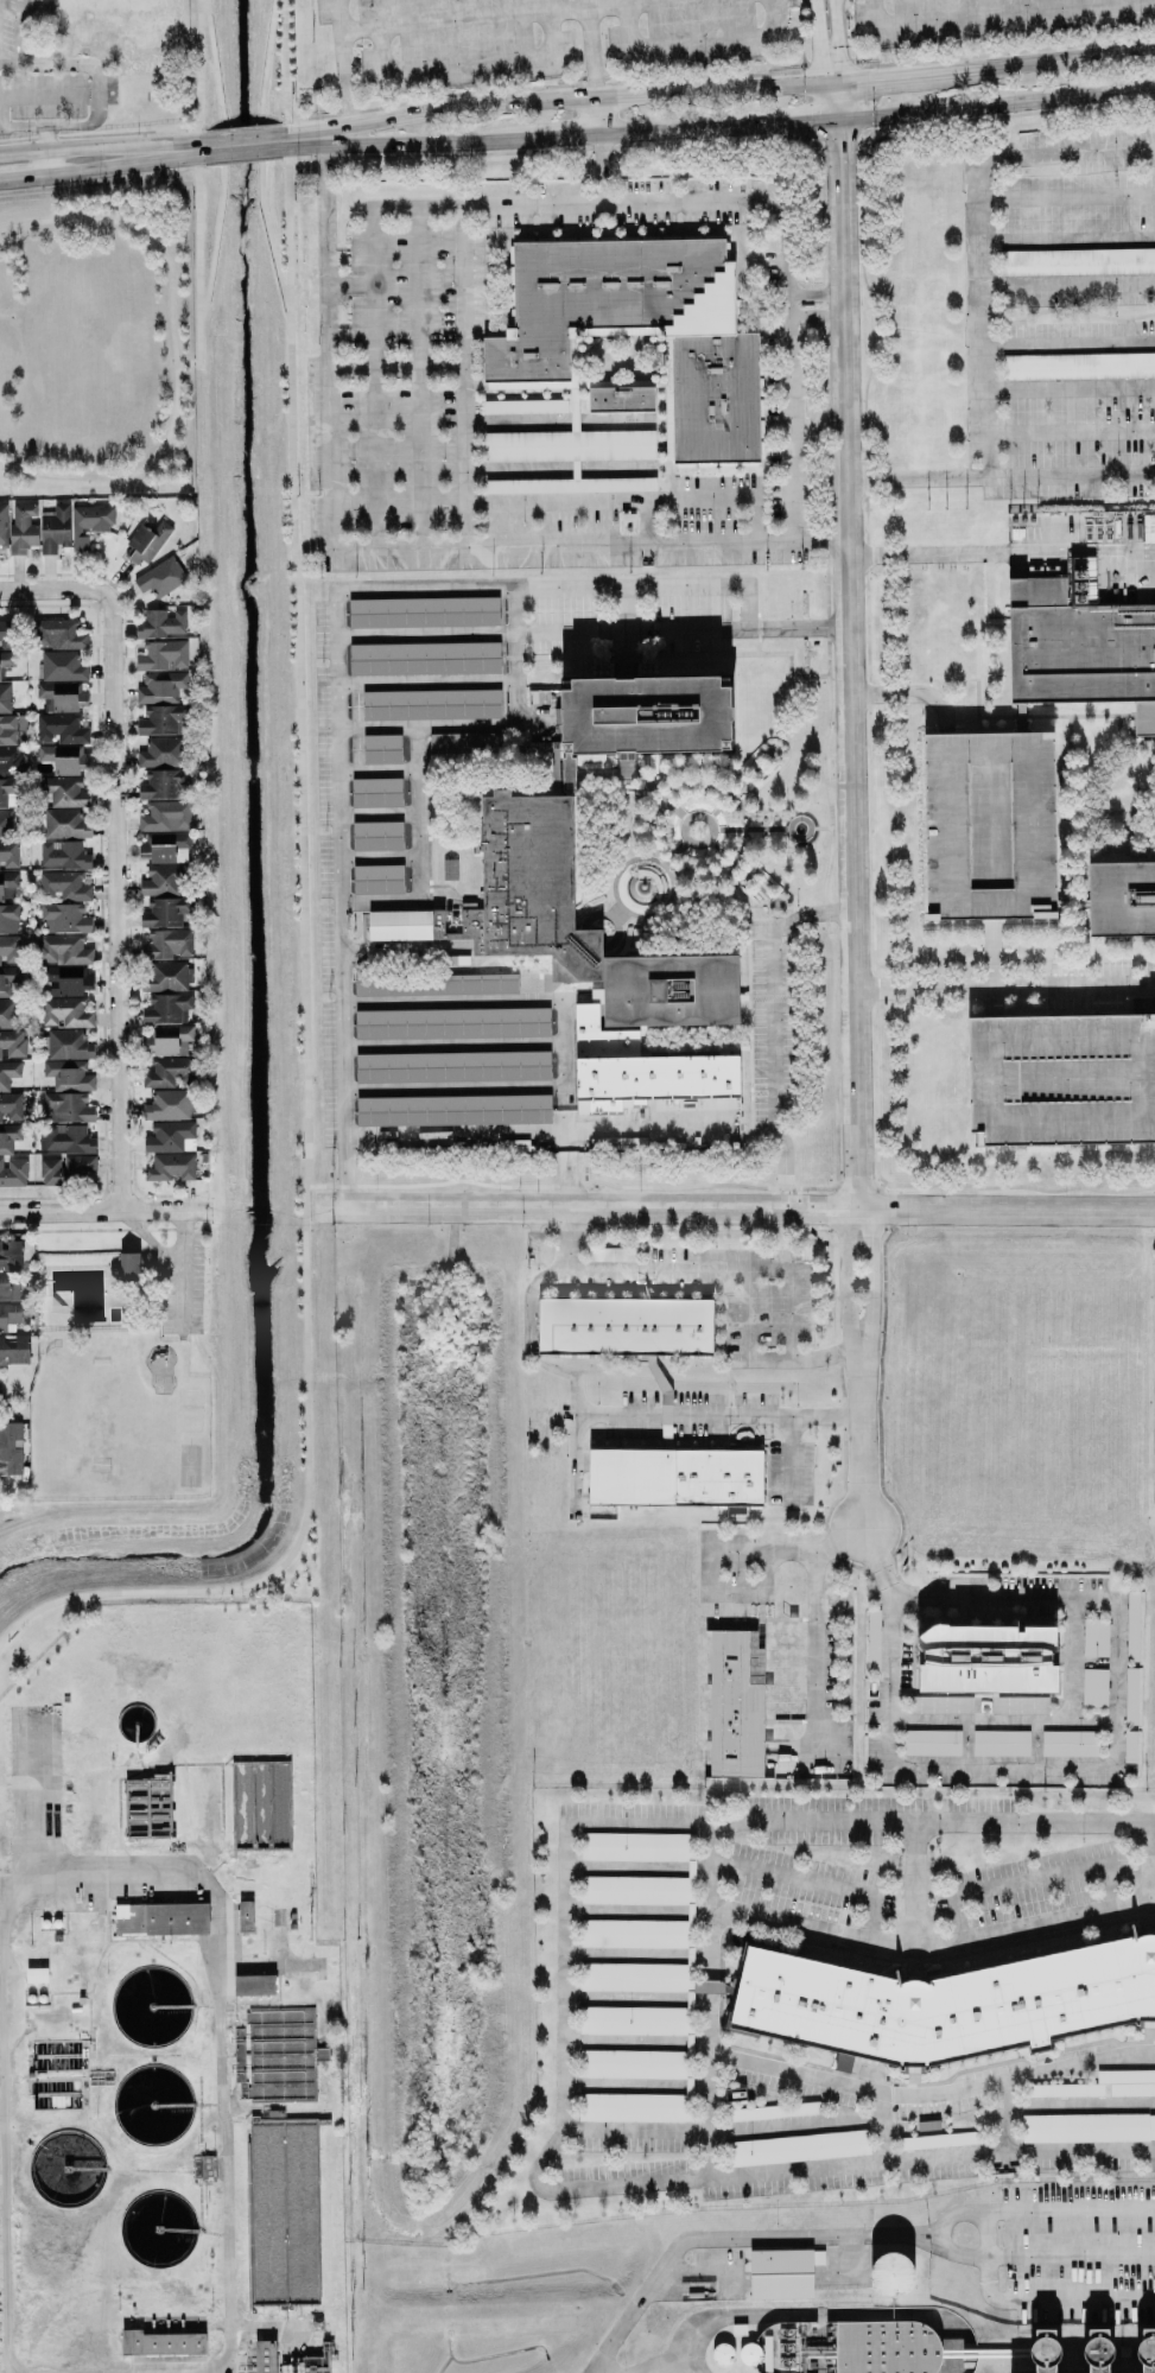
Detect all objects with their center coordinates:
road: (998, 14)
road: (512, 15)
building: (118, 26)
road: (15, 32)
road: (799, 33)
parking lot: (653, 34)
road: (691, 43)
road: (834, 43)
road: (819, 44)
road: (590, 49)
traffic signals: (821, 58)
road: (341, 61)
road: (1059, 61)
road: (464, 62)
road: (285, 65)
road: (199, 69)
road: (793, 71)
road: (899, 78)
traffic signals: (869, 82)
road: (1153, 88)
road: (94, 95)
road: (40, 96)
road: (563, 100)
road: (834, 103)
road: (994, 106)
road: (362, 109)
road: (597, 116)
road: (286, 122)
road: (788, 122)
traffic signals: (799, 122)
road: (241, 128)
road: (669, 131)
road: (247, 134)
road: (552, 138)
road: (42, 139)
traffic signals: (838, 140)
road: (395, 144)
road: (99, 147)
road: (243, 152)
road: (1066, 152)
road: (284, 158)
road: (243, 161)
road: (44, 164)
road: (122, 165)
road: (598, 170)
road: (23, 177)
road: (224, 193)
road: (1067, 195)
road: (614, 203)
road: (290, 223)
road: (198, 231)
road: (1067, 241)
road: (372, 245)
building: (1078, 261)
road: (348, 284)
road: (1067, 284)
road: (414, 287)
road: (812, 293)
road: (812, 316)
road: (981, 321)
park: (97, 344)
building: (713, 344)
road: (1068, 344)
road: (172, 351)
building: (1079, 366)
road: (393, 368)
road: (1068, 387)
building: (621, 399)
building: (525, 406)
road: (556, 421)
road: (1070, 432)
building: (569, 445)
road: (372, 458)
road: (418, 458)
road: (557, 470)
road: (1070, 475)
road: (914, 478)
building: (570, 484)
road: (629, 499)
road: (642, 521)
building: (89, 524)
building: (2, 525)
building: (23, 527)
building: (55, 528)
building: (146, 540)
road: (385, 548)
road: (1001, 552)
building: (160, 577)
road: (538, 588)
road: (47, 589)
road: (744, 608)
road: (618, 609)
building: (423, 611)
building: (160, 623)
building: (7, 633)
road: (591, 633)
building: (57, 634)
building: (1080, 642)
building: (163, 655)
building: (424, 658)
building: (6, 661)
road: (850, 664)
building: (62, 666)
road: (423, 683)
building: (160, 687)
building: (62, 696)
road: (908, 697)
building: (5, 698)
building: (431, 704)
building: (641, 717)
building: (160, 721)
road: (491, 727)
building: (12, 729)
building: (61, 729)
building: (464, 742)
building: (381, 748)
building: (163, 751)
building: (63, 757)
building: (9, 760)
road: (375, 769)
building: (164, 783)
building: (63, 791)
building: (7, 792)
building: (376, 792)
road: (375, 813)
building: (165, 816)
building: (64, 823)
building: (6, 824)
building: (988, 825)
parking garage: (988, 825)
building: (376, 836)
building: (164, 846)
road: (415, 854)
building: (8, 855)
building: (63, 855)
road: (376, 858)
building: (377, 878)
building: (163, 881)
building: (8, 886)
building: (63, 886)
road: (116, 895)
building: (1122, 896)
road: (337, 899)
building: (164, 913)
building: (8, 918)
building: (64, 918)
road: (299, 937)
building: (167, 944)
building: (9, 948)
road: (404, 948)
building: (62, 950)
road: (986, 952)
building: (584, 960)
building: (164, 976)
building: (7, 979)
building: (68, 981)
building: (436, 984)
road: (1005, 985)
road: (996, 1001)
road: (449, 1002)
building: (166, 1008)
building: (7, 1013)
building: (65, 1013)
building: (452, 1022)
road: (769, 1023)
building: (166, 1040)
building: (12, 1043)
building: (66, 1043)
road: (450, 1045)
building: (452, 1066)
building: (170, 1072)
building: (8, 1073)
building: (68, 1076)
building: (1061, 1078)
parking garage: (1061, 1078)
road: (451, 1089)
road: (563, 1103)
building: (169, 1105)
building: (9, 1106)
building: (68, 1108)
building: (453, 1110)
road: (640, 1127)
road: (452, 1132)
building: (170, 1136)
building: (8, 1137)
building: (65, 1137)
building: (171, 1167)
building: (68, 1168)
building: (13, 1172)
road: (311, 1206)
road: (588, 1207)
road: (1007, 1208)
road: (165, 1211)
road: (61, 1212)
road: (567, 1237)
building: (14, 1254)
building: (128, 1265)
road: (671, 1268)
road: (846, 1280)
road: (865, 1280)
building: (8, 1286)
building: (8, 1314)
building: (624, 1326)
building: (14, 1349)
road: (756, 1358)
building: (1154, 1409)
parking garage: (1154, 1409)
road: (715, 1413)
road: (857, 1439)
road: (571, 1444)
building: (11, 1448)
road: (788, 1460)
building: (675, 1476)
road: (787, 1553)
road: (874, 1562)
road: (706, 1575)
road: (760, 1575)
road: (732, 1597)
building: (1132, 1625)
building: (1096, 1637)
building: (872, 1639)
road: (813, 1654)
building: (986, 1658)
road: (1070, 1662)
building: (1094, 1687)
building: (1131, 1695)
building: (941, 1705)
building: (1020, 1705)
road: (999, 1722)
building: (932, 1741)
building: (1001, 1743)
building: (1070, 1743)
building: (1130, 1746)
road: (808, 1756)
road: (1112, 1765)
road: (30, 1800)
road: (929, 1821)
building: (637, 1846)
road: (1147, 1863)
road: (634, 1867)
road: (1027, 1879)
road: (810, 1883)
road: (910, 1886)
building: (637, 1890)
road: (633, 1911)
building: (245, 1915)
building: (160, 1918)
building: (634, 1933)
road: (560, 1946)
road: (929, 1949)
road: (633, 1955)
building: (36, 1974)
road: (220, 1975)
building: (254, 1985)
road: (633, 1998)
building: (947, 2003)
wastewater plant: (167, 2004)
road: (705, 2004)
road: (633, 2042)
building: (688, 2042)
building: (274, 2055)
building: (1128, 2082)
road: (633, 2086)
building: (1065, 2089)
road: (929, 2094)
road: (1078, 2105)
building: (773, 2111)
road: (1002, 2115)
road: (793, 2124)
road: (883, 2127)
building: (1089, 2127)
road: (632, 2130)
building: (939, 2139)
building: (798, 2147)
road: (855, 2164)
road: (9, 2172)
road: (694, 2273)
building: (781, 2273)
building: (890, 2274)
wastewater plant: (780, 2289)
road: (636, 2299)
building: (160, 2342)
building: (887, 2347)
building: (264, 2356)
building: (1142, 2358)
building: (303, 2365)
building: (1093, 2366)

